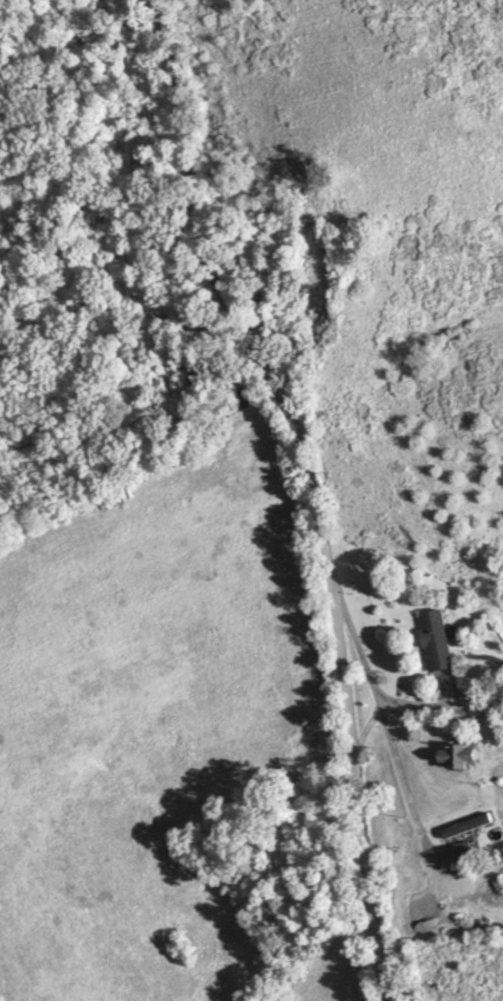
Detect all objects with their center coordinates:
road: (315, 490)
building: (441, 642)
road: (373, 685)
building: (463, 757)
building: (468, 827)
building: (495, 888)

